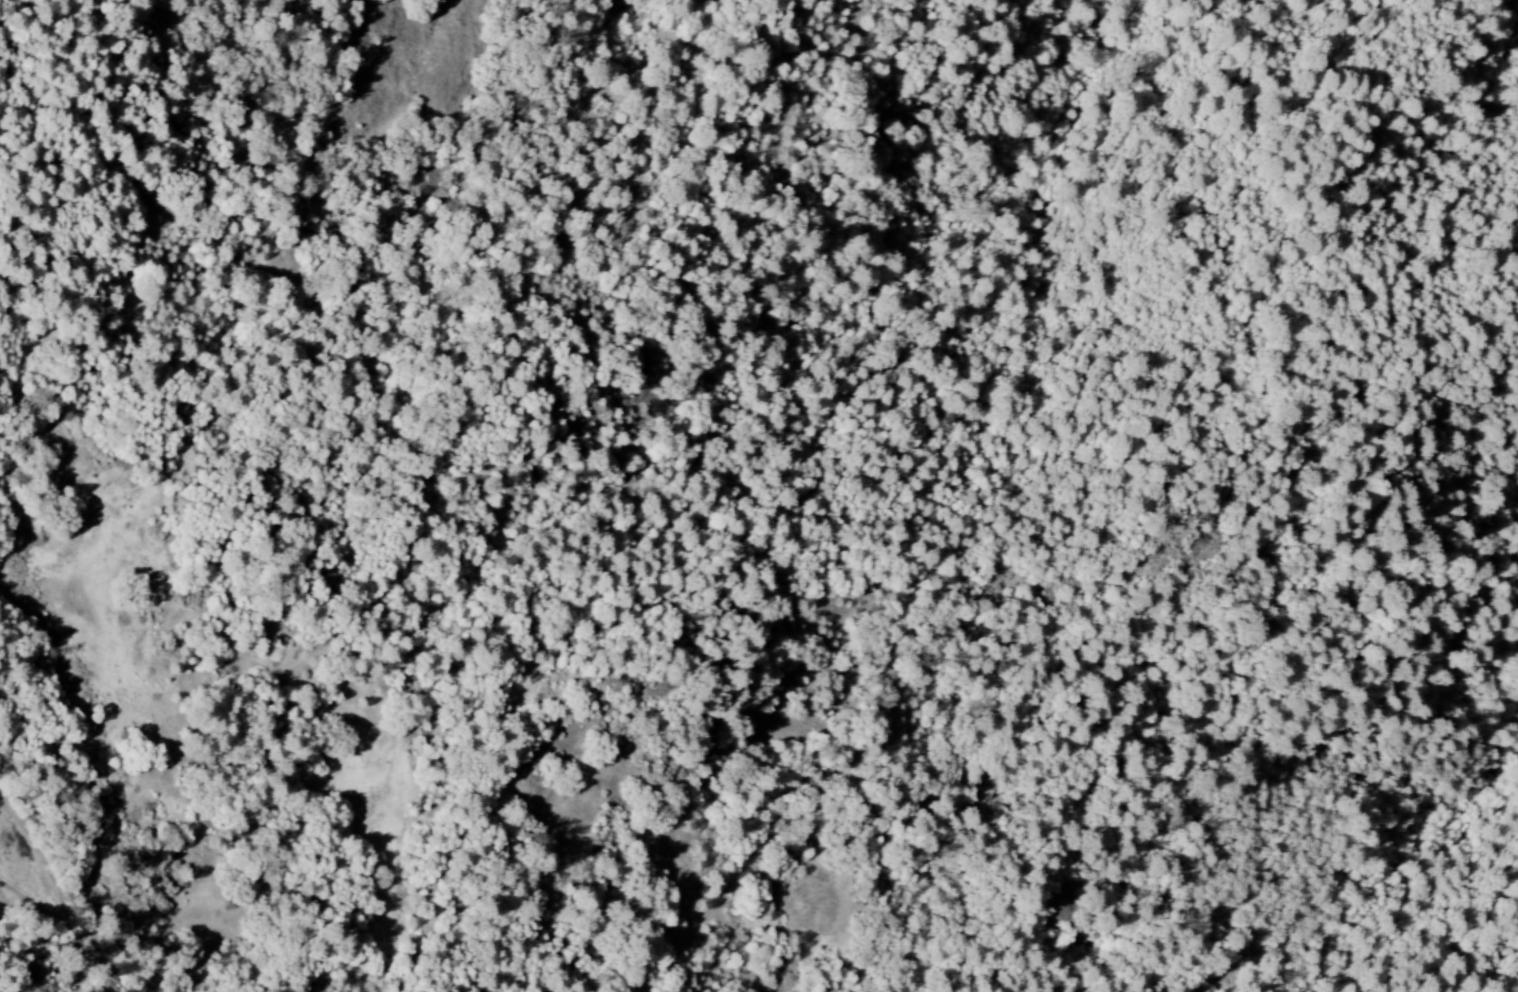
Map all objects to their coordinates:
road: (48, 636)
road: (55, 875)

